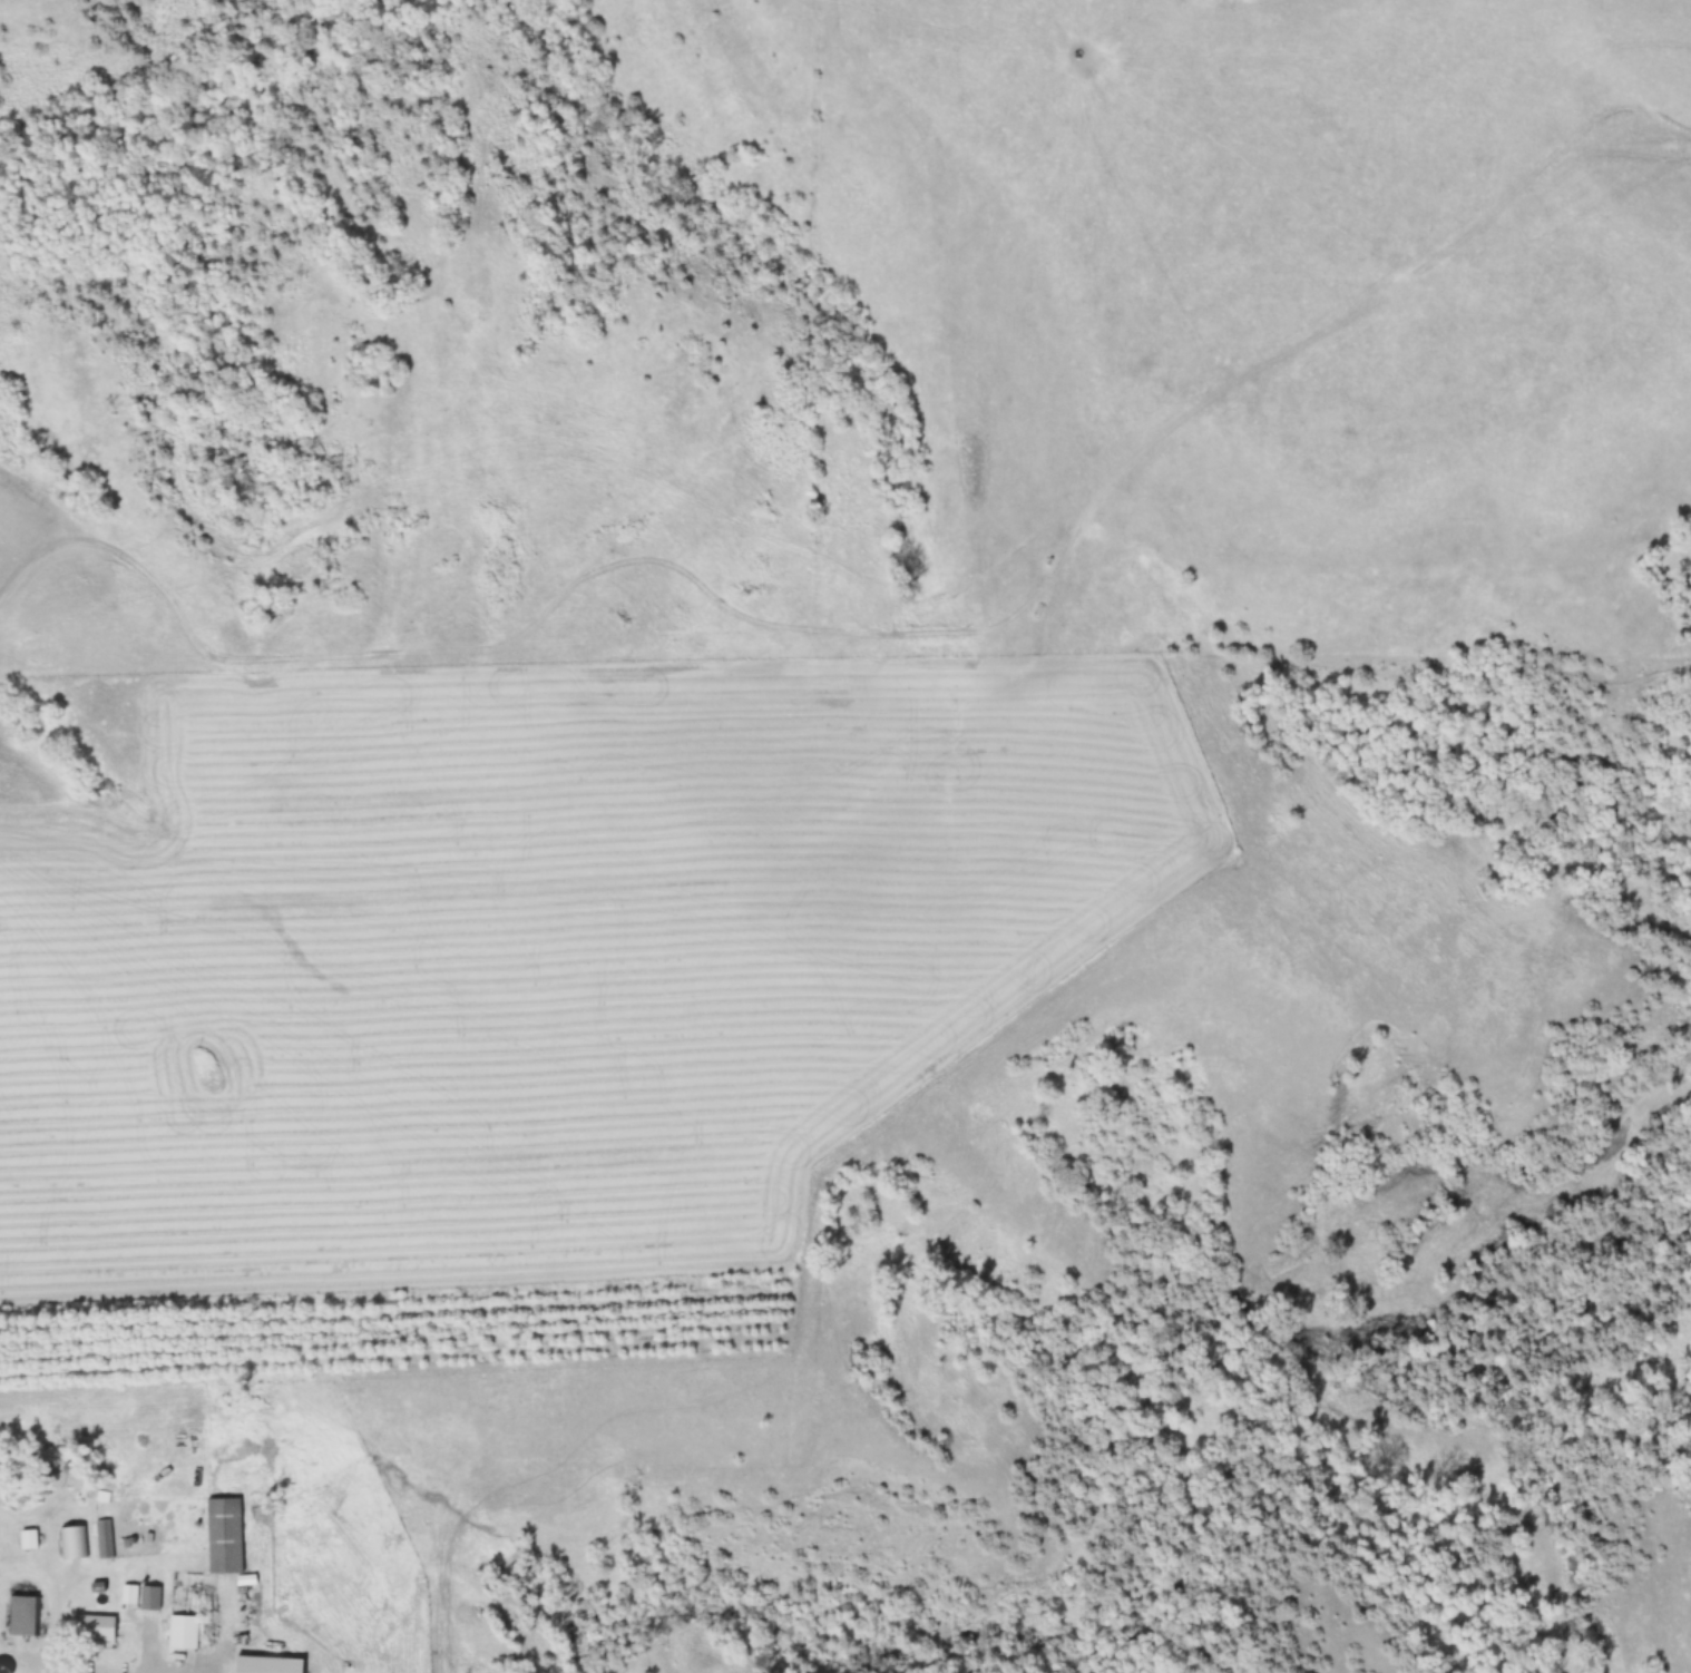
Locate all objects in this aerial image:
building: (30, 1491)
building: (229, 1535)
building: (107, 1538)
building: (154, 1597)
building: (29, 1615)
building: (101, 1627)
building: (187, 1632)
building: (221, 1667)

